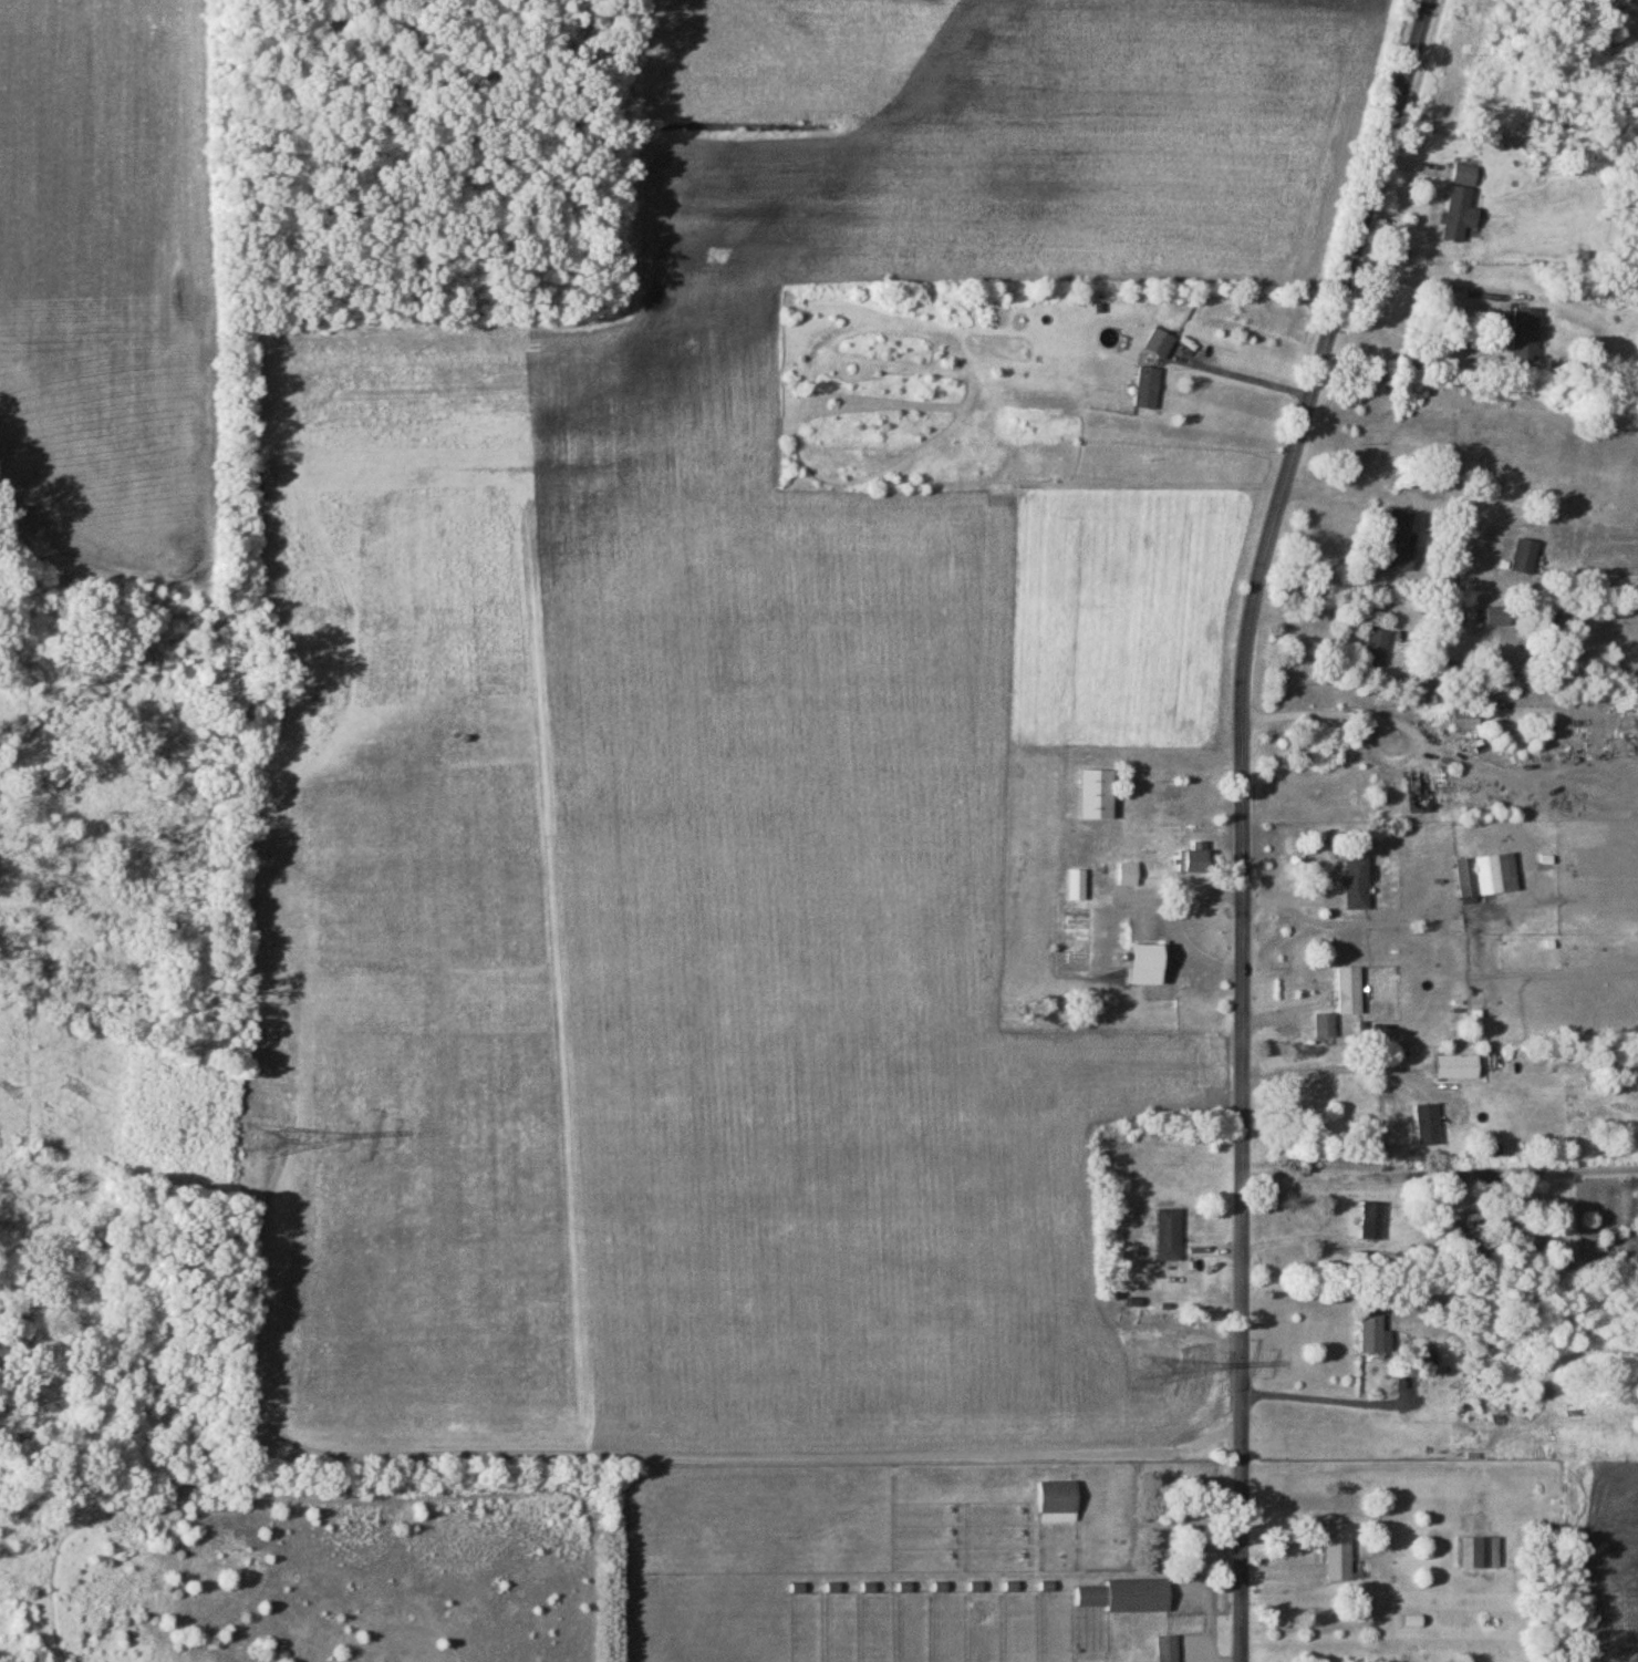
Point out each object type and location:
building: (1463, 174)
building: (1455, 214)
building: (1623, 234)
road: (1427, 282)
building: (1524, 333)
building: (1157, 343)
road: (1243, 373)
building: (1145, 388)
building: (1397, 540)
building: (1523, 556)
road: (1333, 606)
building: (1496, 615)
building: (1375, 646)
road: (1342, 715)
building: (1463, 718)
building: (1417, 792)
building: (1093, 794)
road: (1242, 818)
building: (1191, 858)
building: (1126, 874)
building: (1484, 876)
building: (1355, 881)
building: (1075, 884)
road: (1184, 902)
road: (1337, 925)
road: (1192, 950)
building: (1141, 963)
building: (1347, 990)
building: (1323, 1025)
road: (1337, 1066)
building: (1453, 1066)
building: (1318, 1102)
building: (1426, 1124)
power tower: (259, 1137)
building: (1167, 1233)
building: (1371, 1334)
building: (1417, 1362)
power tower: (1150, 1373)
road: (1333, 1396)
building: (1056, 1497)
building: (1334, 1549)
building: (1478, 1552)
building: (1122, 1596)
building: (894, 1600)
building: (1165, 1649)

